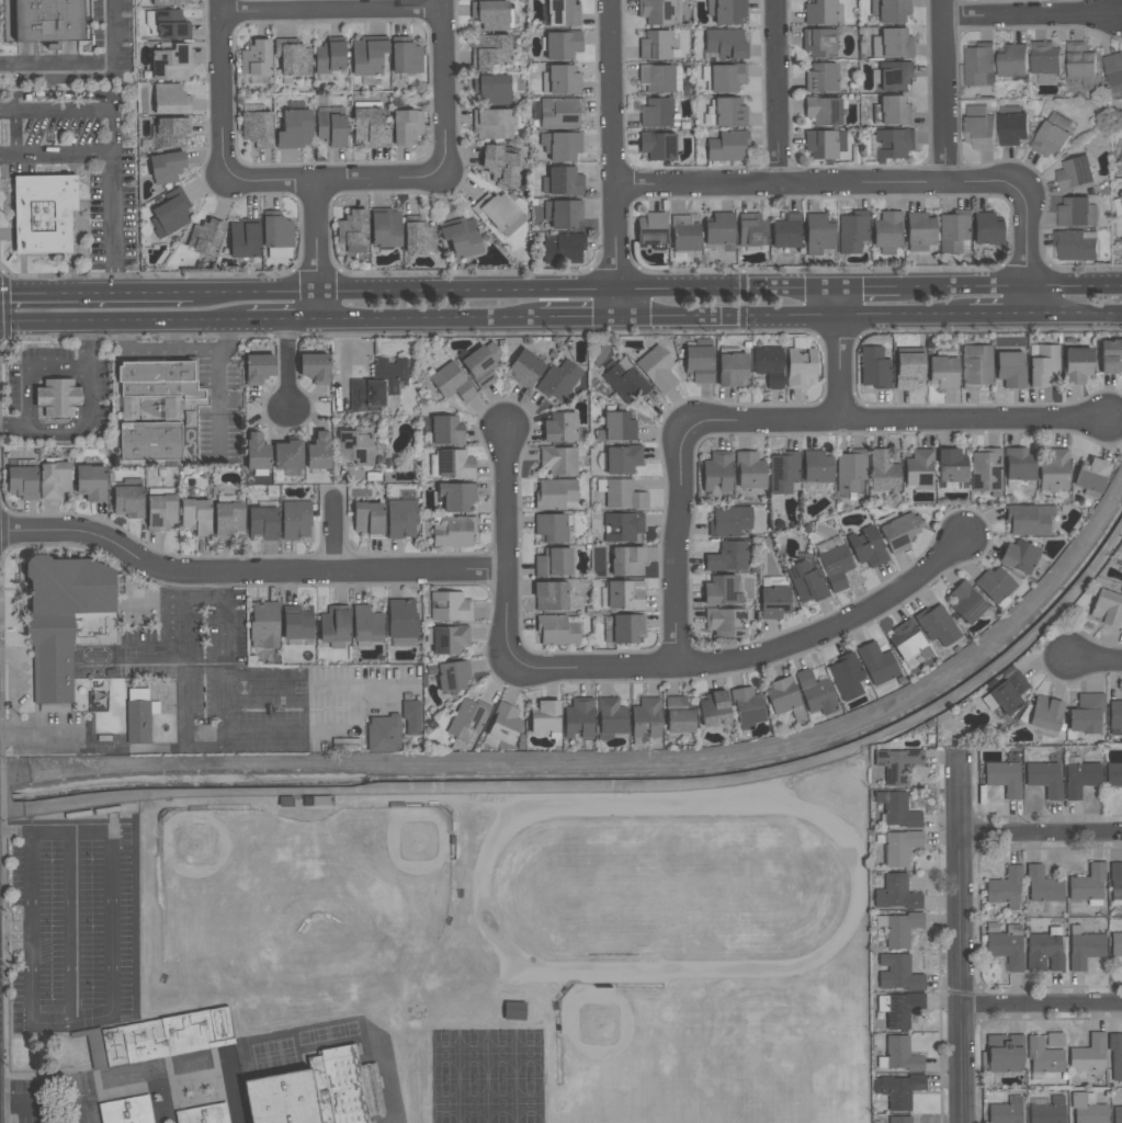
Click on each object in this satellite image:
building: (165, 2)
building: (889, 10)
road: (332, 11)
building: (726, 11)
building: (659, 12)
building: (819, 12)
building: (562, 13)
road: (1030, 14)
building: (491, 15)
building: (47, 20)
building: (167, 24)
building: (819, 43)
building: (892, 44)
building: (562, 45)
building: (655, 45)
building: (724, 45)
building: (489, 52)
building: (367, 55)
building: (329, 56)
building: (293, 57)
building: (256, 58)
building: (406, 58)
building: (1045, 60)
building: (171, 61)
building: (978, 63)
building: (1013, 63)
road: (84, 65)
building: (1081, 65)
building: (1114, 69)
building: (893, 76)
building: (724, 77)
building: (659, 78)
building: (821, 78)
building: (560, 80)
road: (443, 88)
road: (224, 89)
building: (492, 89)
road: (945, 91)
road: (779, 92)
building: (170, 99)
building: (824, 110)
building: (892, 111)
road: (76, 112)
building: (557, 112)
building: (729, 112)
building: (658, 113)
building: (491, 124)
building: (369, 125)
building: (1012, 125)
building: (331, 126)
building: (406, 126)
building: (979, 126)
building: (257, 128)
building: (294, 129)
building: (169, 132)
building: (1052, 135)
building: (824, 144)
building: (893, 144)
building: (560, 145)
building: (657, 145)
building: (727, 146)
road: (57, 154)
road: (612, 159)
building: (501, 163)
building: (1121, 165)
building: (167, 167)
building: (1075, 173)
road: (336, 179)
building: (563, 181)
road: (817, 183)
building: (499, 212)
building: (1077, 212)
building: (43, 213)
building: (170, 213)
building: (563, 214)
road: (115, 225)
building: (385, 228)
building: (987, 228)
building: (651, 230)
building: (718, 230)
building: (353, 231)
building: (751, 231)
building: (852, 231)
building: (887, 231)
building: (919, 231)
building: (954, 232)
building: (786, 234)
building: (818, 234)
building: (277, 235)
building: (683, 235)
building: (418, 236)
building: (205, 237)
building: (461, 237)
building: (243, 238)
building: (1075, 243)
building: (563, 248)
road: (315, 250)
road: (1027, 253)
road: (1011, 287)
road: (871, 290)
road: (514, 293)
road: (58, 296)
road: (152, 296)
road: (741, 303)
road: (1076, 316)
road: (821, 319)
road: (429, 320)
road: (578, 320)
road: (285, 321)
road: (126, 322)
road: (840, 354)
building: (1110, 356)
building: (699, 362)
building: (800, 363)
building: (480, 364)
building: (769, 364)
building: (1043, 365)
building: (1076, 365)
building: (975, 366)
building: (258, 367)
building: (315, 367)
building: (730, 367)
building: (874, 367)
road: (288, 368)
building: (524, 368)
building: (657, 368)
building: (908, 370)
building: (943, 370)
building: (1010, 370)
building: (160, 379)
building: (558, 379)
building: (624, 381)
building: (451, 382)
road: (217, 384)
building: (378, 386)
building: (58, 398)
road: (87, 418)
road: (897, 420)
building: (559, 428)
building: (616, 428)
building: (446, 431)
building: (150, 442)
building: (355, 446)
building: (318, 453)
building: (257, 454)
building: (287, 457)
building: (623, 458)
building: (559, 460)
building: (452, 464)
building: (816, 467)
building: (1018, 467)
building: (919, 468)
building: (749, 469)
building: (951, 469)
building: (1053, 469)
building: (986, 470)
building: (783, 472)
building: (883, 472)
building: (717, 473)
building: (850, 473)
building: (1090, 476)
building: (54, 478)
building: (22, 479)
building: (91, 481)
building: (622, 494)
building: (556, 495)
building: (456, 496)
building: (128, 498)
building: (161, 509)
building: (195, 517)
building: (227, 517)
building: (295, 519)
building: (367, 519)
building: (401, 519)
building: (1029, 520)
building: (263, 521)
building: (729, 521)
building: (622, 526)
building: (552, 528)
building: (453, 531)
building: (898, 531)
road: (333, 538)
road: (679, 545)
building: (866, 547)
road: (505, 552)
building: (1018, 556)
building: (727, 557)
building: (627, 560)
building: (553, 563)
building: (834, 563)
road: (247, 575)
building: (806, 582)
road: (224, 587)
building: (995, 587)
building: (721, 590)
building: (551, 595)
building: (625, 595)
building: (773, 598)
building: (965, 602)
building: (450, 606)
building: (1107, 609)
building: (66, 621)
building: (725, 622)
building: (403, 623)
building: (264, 624)
building: (296, 624)
building: (936, 624)
building: (366, 625)
building: (335, 626)
building: (626, 628)
building: (558, 629)
building: (446, 638)
building: (907, 640)
road: (182, 654)
road: (751, 655)
road: (1096, 659)
building: (876, 662)
building: (450, 676)
building: (846, 677)
road: (14, 688)
road: (225, 693)
building: (815, 693)
building: (1006, 694)
building: (784, 699)
road: (355, 705)
building: (746, 707)
building: (714, 708)
building: (1042, 713)
building: (1086, 713)
building: (678, 715)
building: (138, 716)
building: (411, 717)
building: (578, 717)
building: (1114, 717)
building: (610, 718)
building: (646, 718)
building: (545, 719)
building: (467, 723)
building: (502, 725)
building: (383, 734)
road: (91, 744)
building: (897, 764)
building: (1114, 774)
building: (1079, 776)
building: (1004, 778)
building: (1044, 778)
building: (896, 809)
track: (815, 817)
road: (70, 833)
road: (15, 835)
road: (1040, 836)
building: (900, 847)
building: (1115, 883)
building: (1043, 885)
building: (1088, 885)
building: (1006, 888)
building: (896, 893)
road: (112, 921)
parking lot: (72, 923)
road: (73, 928)
building: (899, 928)
road: (31, 929)
road: (960, 942)
building: (1117, 944)
building: (1007, 946)
building: (1084, 948)
building: (1044, 951)
building: (898, 973)
road: (1041, 1006)
building: (899, 1009)
building: (514, 1011)
road: (73, 1022)
building: (169, 1036)
building: (1004, 1053)
building: (1088, 1054)
building: (899, 1055)
building: (1115, 1055)
building: (1042, 1057)
road: (209, 1062)
park: (488, 1076)
road: (47, 1077)
road: (390, 1080)
building: (343, 1086)
building: (898, 1090)
building: (282, 1099)
parking lot: (27, 1100)
road: (22, 1103)
building: (1087, 1109)
building: (127, 1111)
building: (1006, 1111)
building: (1047, 1111)
building: (205, 1114)
building: (1118, 1114)
building: (899, 1120)

